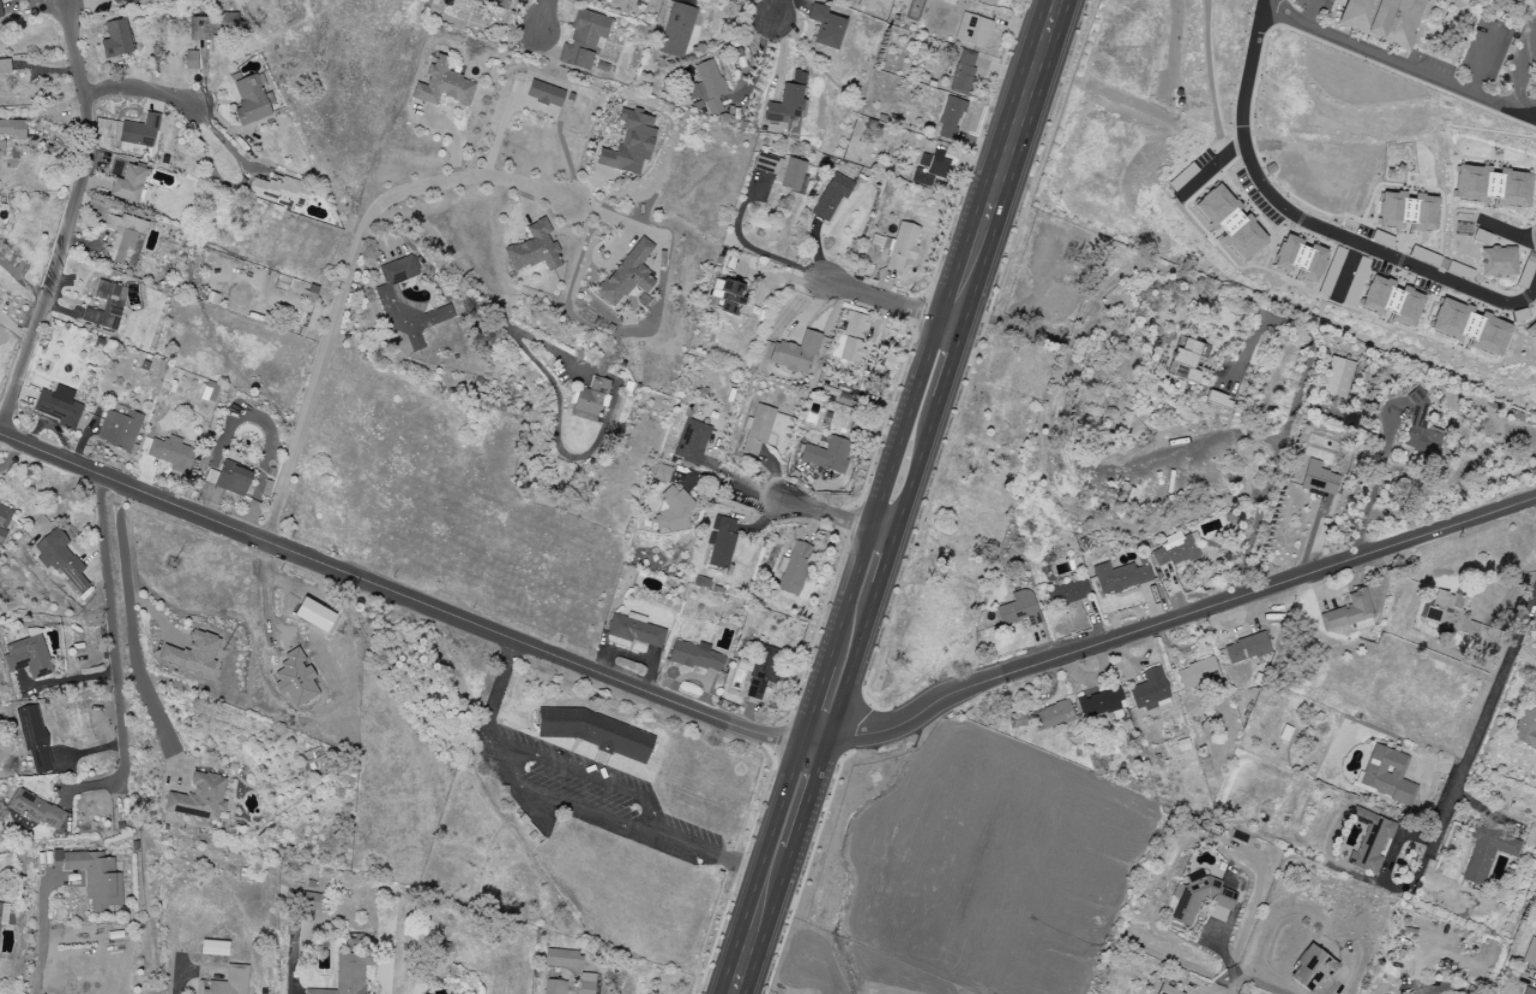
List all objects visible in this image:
building: (1450, 0)
road: (47, 1)
building: (115, 1)
building: (133, 1)
building: (598, 1)
building: (495, 2)
building: (987, 2)
building: (1525, 2)
road: (776, 9)
road: (1308, 12)
road: (542, 15)
building: (1, 18)
building: (1382, 20)
building: (214, 25)
building: (825, 27)
building: (972, 30)
building: (677, 31)
building: (116, 39)
building: (584, 40)
road: (1480, 59)
building: (5, 66)
road: (754, 67)
building: (963, 73)
road: (1421, 74)
building: (443, 85)
road: (140, 87)
building: (706, 87)
building: (545, 94)
building: (251, 100)
building: (788, 100)
road: (1524, 103)
building: (950, 118)
building: (13, 129)
building: (139, 131)
road: (223, 138)
building: (630, 143)
building: (1, 146)
building: (930, 168)
building: (791, 175)
road: (465, 178)
building: (128, 184)
building: (1491, 186)
building: (280, 192)
building: (831, 196)
building: (1406, 211)
road: (69, 219)
road: (1309, 219)
building: (1229, 223)
building: (124, 235)
road: (439, 239)
building: (902, 245)
road: (751, 248)
building: (534, 249)
building: (1336, 257)
building: (1299, 259)
building: (1497, 262)
building: (627, 274)
building: (1325, 284)
building: (387, 296)
building: (728, 296)
building: (1390, 301)
road: (887, 302)
building: (105, 306)
building: (1469, 327)
building: (1532, 331)
building: (849, 338)
road: (539, 343)
building: (795, 353)
building: (1182, 360)
building: (1337, 377)
road: (317, 387)
building: (590, 399)
building: (1218, 400)
building: (59, 406)
road: (1294, 411)
building: (119, 429)
building: (1420, 429)
building: (691, 442)
road: (1194, 445)
building: (171, 454)
building: (827, 455)
building: (661, 473)
building: (233, 479)
building: (1318, 480)
road: (734, 490)
road: (893, 496)
road: (833, 513)
building: (5, 519)
building: (721, 542)
building: (1174, 551)
building: (60, 560)
building: (793, 569)
building: (1119, 577)
road: (270, 590)
building: (1067, 593)
building: (1018, 609)
building: (1441, 609)
building: (1349, 613)
building: (314, 615)
road: (113, 618)
building: (1468, 628)
building: (635, 630)
road: (135, 631)
building: (1246, 648)
building: (696, 656)
building: (28, 657)
building: (762, 672)
building: (1197, 674)
building: (295, 679)
road: (72, 681)
building: (1149, 690)
road: (500, 691)
building: (1100, 703)
building: (1050, 716)
building: (1015, 720)
building: (1526, 722)
road: (1481, 724)
building: (594, 732)
road: (760, 734)
building: (34, 738)
road: (587, 771)
building: (1386, 775)
building: (199, 798)
building: (33, 811)
road: (616, 823)
building: (1369, 841)
building: (1486, 852)
building: (94, 877)
building: (1198, 897)
building: (314, 902)
road: (1309, 906)
building: (3, 913)
road: (44, 934)
building: (441, 947)
building: (214, 948)
building: (1530, 954)
building: (562, 958)
building: (1310, 969)
building: (349, 970)
road: (185, 976)
road: (1234, 980)
building: (227, 982)
building: (586, 983)
road: (289, 985)
road: (1267, 986)
building: (554, 987)
road: (1414, 989)
building: (1166, 990)
building: (1528, 991)

